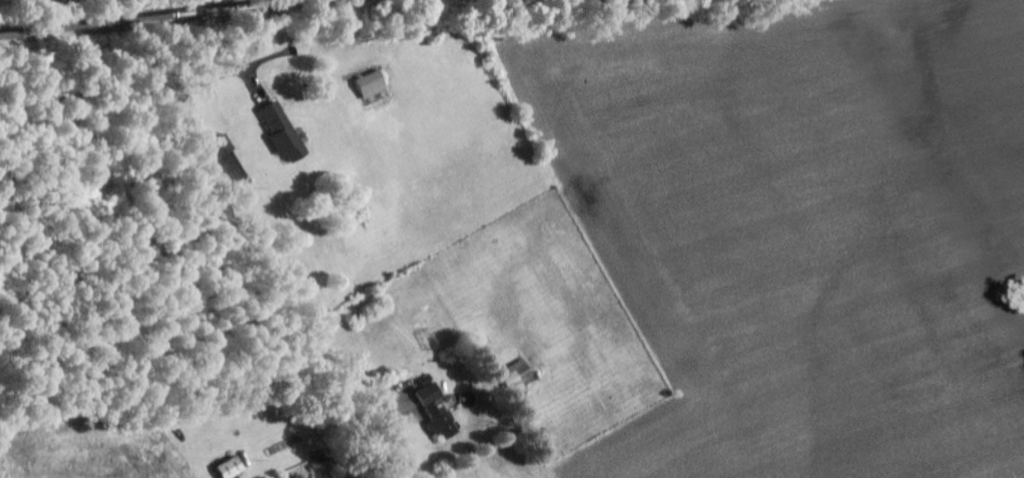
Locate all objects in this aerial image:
railway: (158, 18)
building: (280, 41)
building: (304, 48)
building: (374, 85)
building: (286, 133)
road: (388, 290)
building: (520, 376)
building: (433, 394)
building: (445, 421)
building: (234, 468)
building: (302, 476)

